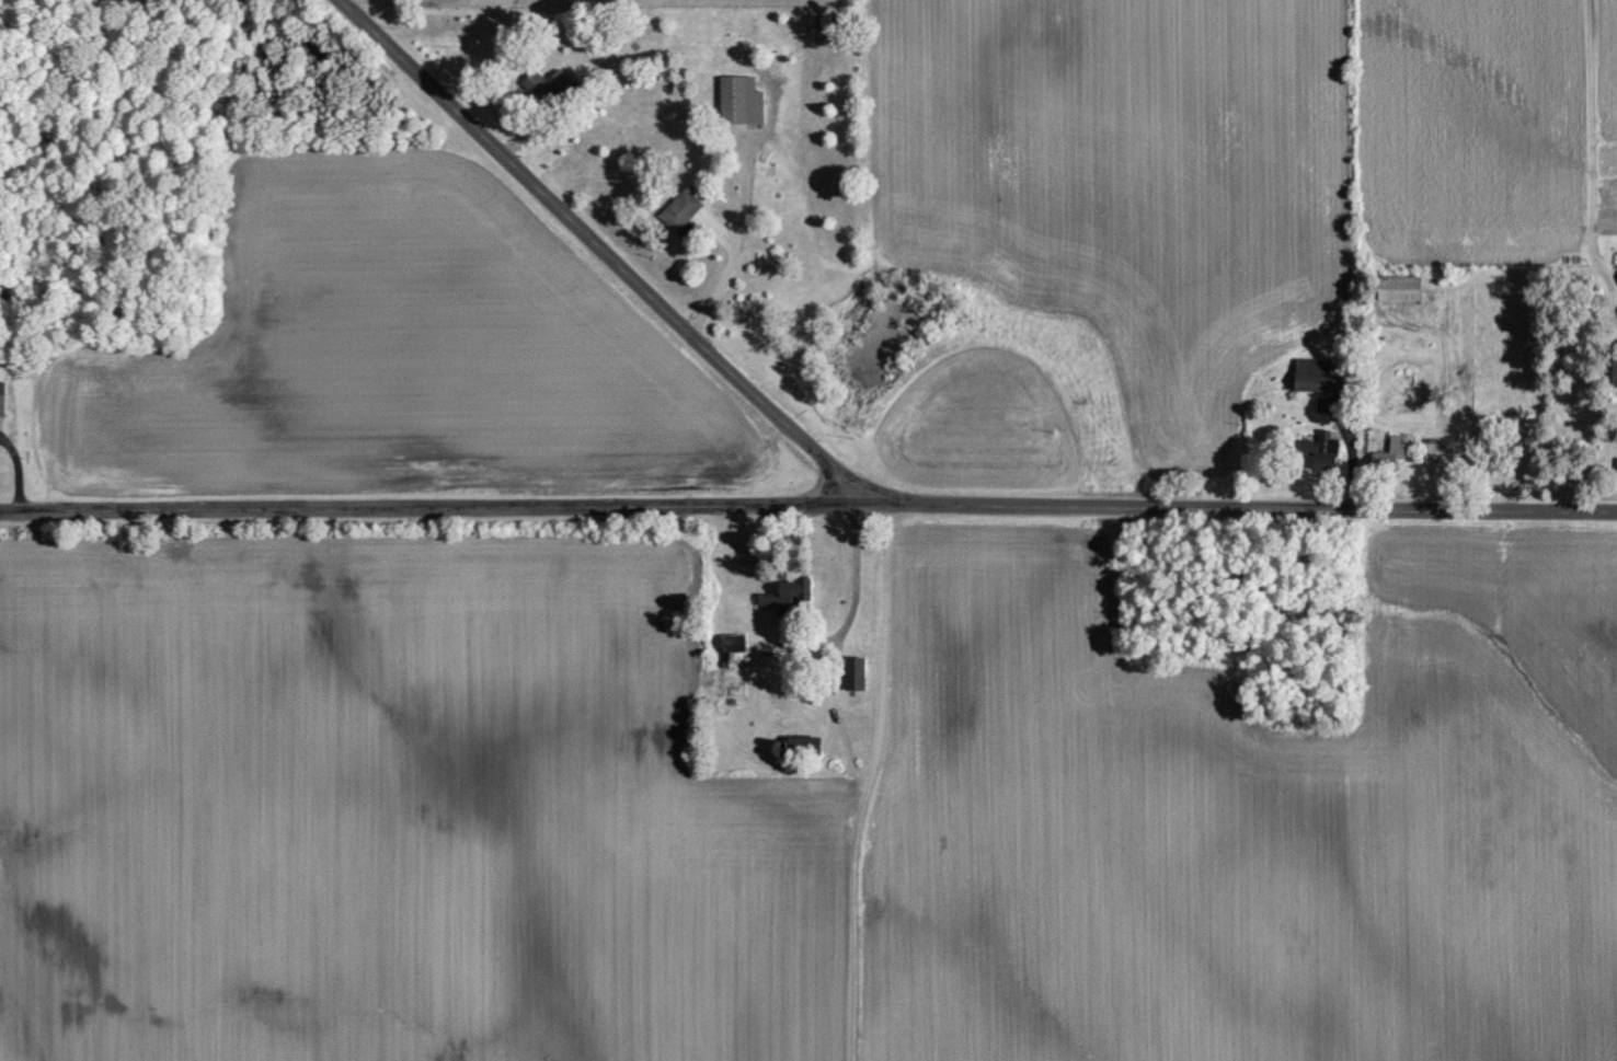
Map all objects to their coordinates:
building: (550, 85)
building: (739, 101)
building: (679, 210)
road: (607, 247)
building: (1395, 287)
building: (1613, 371)
building: (1315, 376)
building: (1, 399)
building: (1318, 450)
building: (1386, 454)
road: (18, 482)
road: (807, 503)
building: (790, 591)
road: (858, 606)
building: (853, 672)
building: (800, 746)

